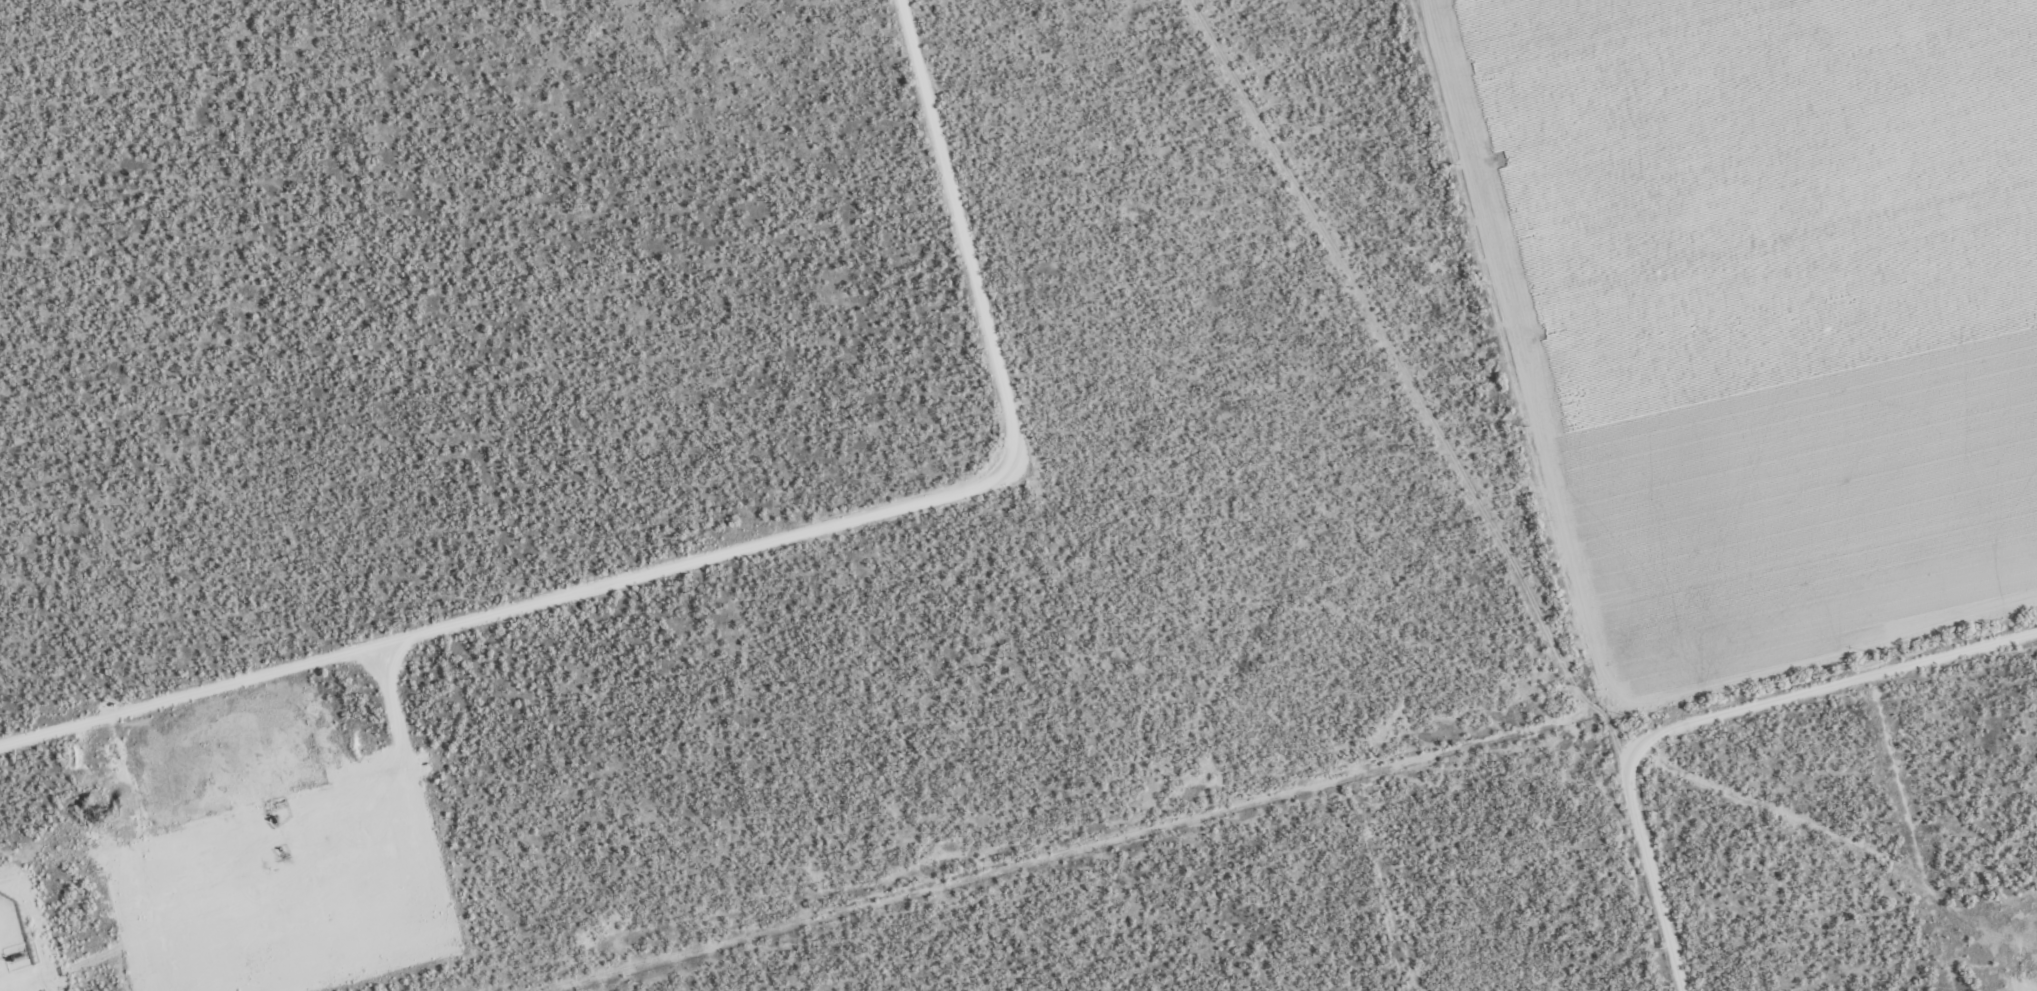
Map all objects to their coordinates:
road: (1714, 718)

